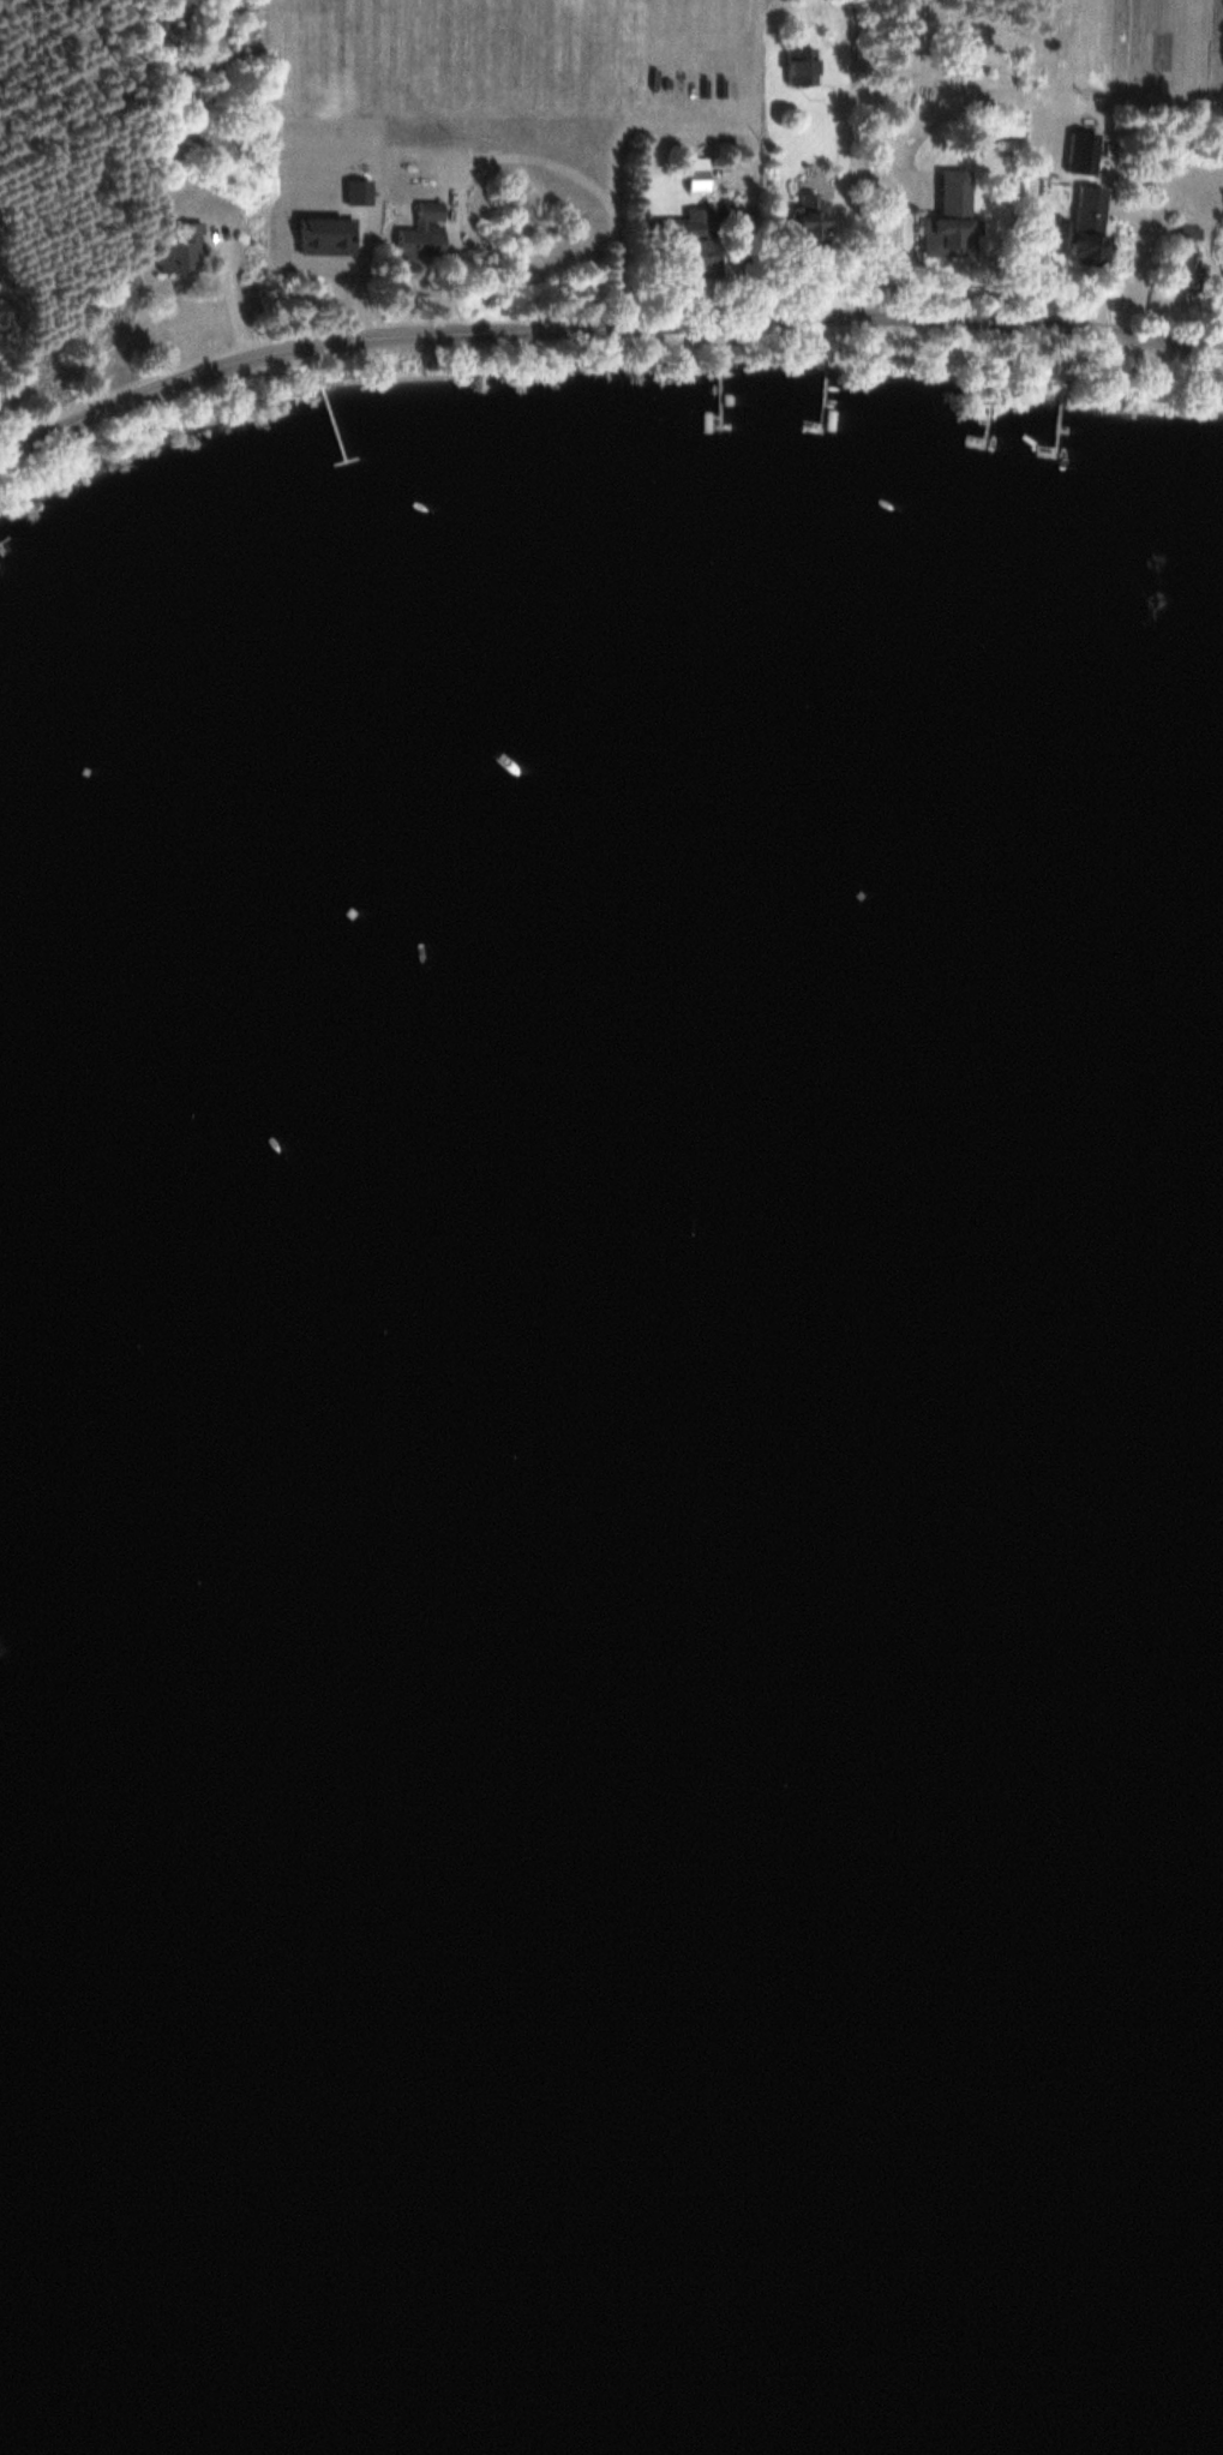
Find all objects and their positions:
building: (1003, 122)
building: (947, 215)
building: (811, 216)
building: (1087, 222)
building: (420, 228)
building: (695, 235)
building: (185, 249)
building: (1181, 253)
building: (6, 315)
road: (600, 323)

